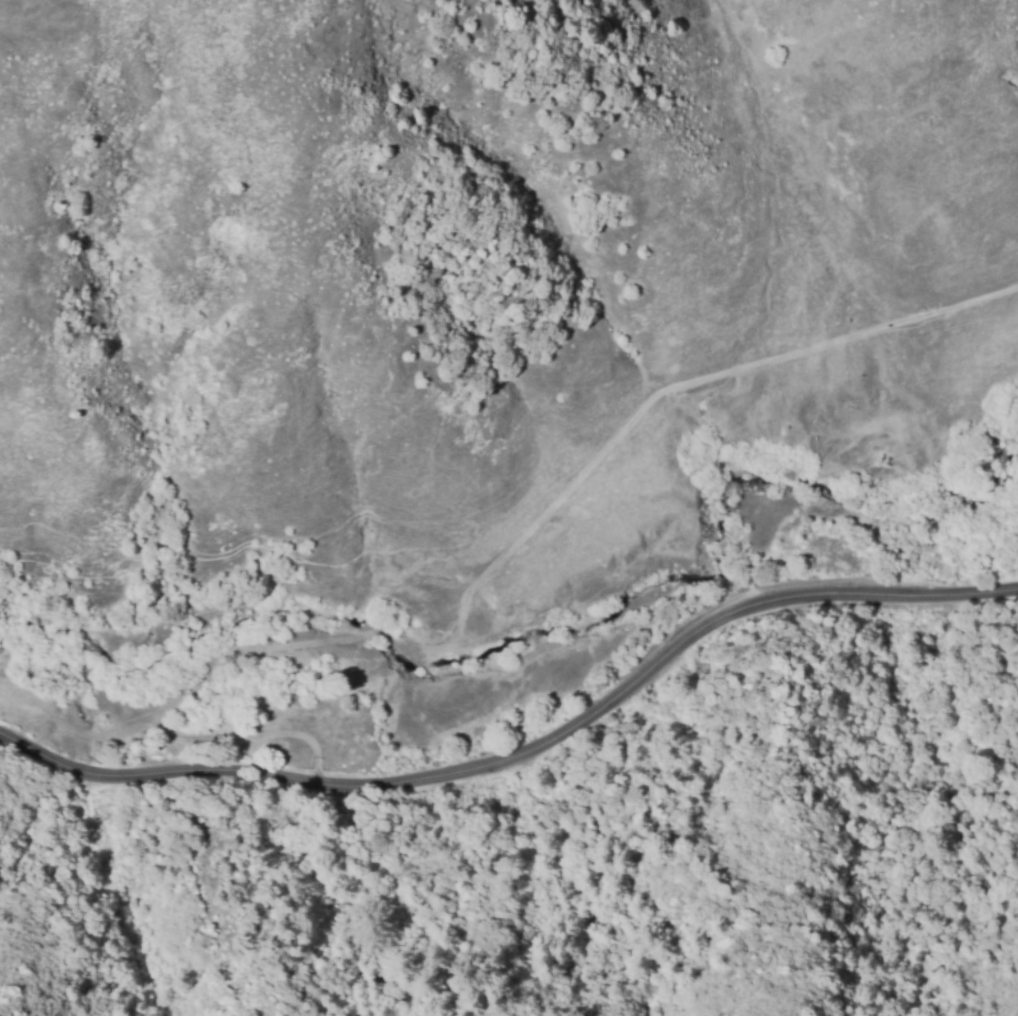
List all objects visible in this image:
road: (528, 754)

